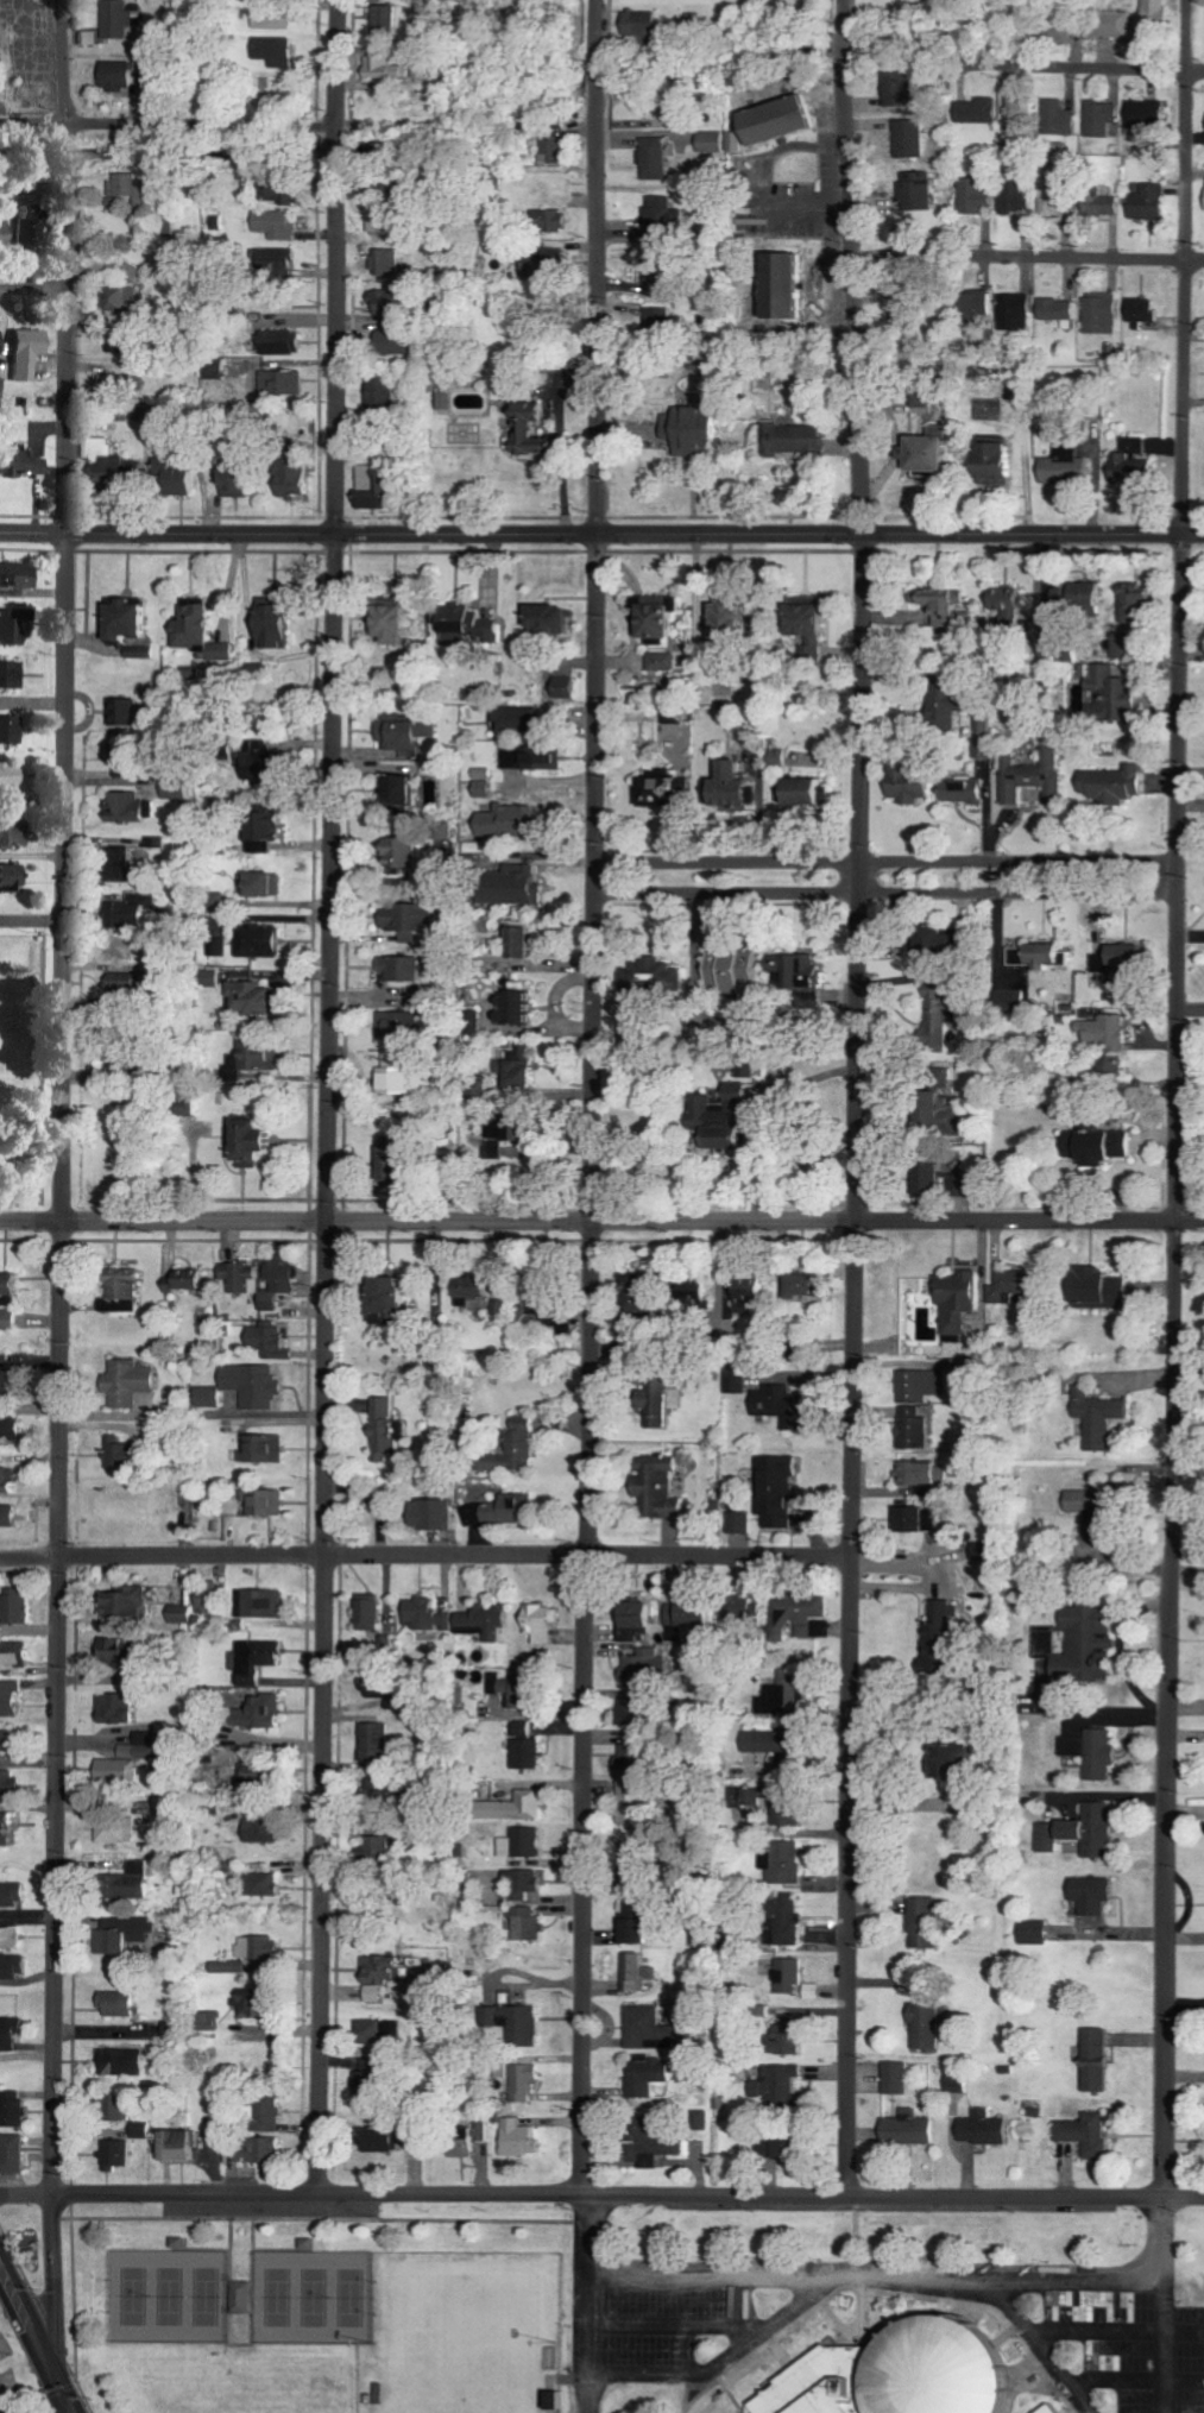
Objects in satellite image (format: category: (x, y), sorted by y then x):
building: (1154, 11)
road: (845, 14)
building: (279, 18)
building: (119, 19)
building: (389, 20)
building: (643, 25)
building: (1109, 25)
building: (1054, 30)
road: (846, 39)
building: (280, 52)
road: (1086, 65)
road: (342, 67)
road: (65, 68)
building: (121, 76)
building: (899, 88)
building: (1020, 109)
building: (978, 111)
building: (1143, 113)
building: (1060, 118)
building: (1101, 118)
road: (171, 125)
building: (769, 125)
road: (1186, 130)
building: (909, 138)
building: (711, 141)
road: (342, 145)
building: (556, 149)
road: (68, 151)
building: (655, 158)
building: (133, 187)
building: (916, 191)
building: (976, 196)
building: (288, 197)
building: (1016, 197)
building: (1057, 199)
building: (1101, 200)
building: (1147, 202)
building: (663, 209)
building: (554, 220)
building: (279, 225)
building: (32, 229)
building: (5, 232)
road: (1085, 257)
building: (286, 259)
building: (387, 263)
building: (548, 266)
road: (36, 279)
building: (776, 285)
building: (122, 300)
building: (390, 304)
building: (972, 307)
building: (1054, 309)
building: (1013, 311)
building: (1139, 311)
building: (1098, 313)
building: (656, 320)
building: (2, 341)
building: (286, 342)
building: (396, 342)
building: (119, 344)
building: (32, 353)
building: (285, 383)
building: (121, 385)
building: (2, 388)
building: (384, 396)
building: (683, 428)
building: (540, 433)
building: (790, 439)
building: (918, 453)
building: (988, 461)
building: (1128, 462)
building: (23, 464)
building: (119, 464)
building: (1061, 467)
building: (183, 474)
building: (297, 479)
building: (240, 483)
building: (378, 487)
road: (601, 531)
building: (18, 579)
building: (1076, 596)
building: (938, 600)
building: (1130, 603)
building: (1003, 606)
building: (799, 616)
building: (661, 618)
building: (724, 618)
building: (134, 619)
building: (559, 619)
building: (401, 624)
building: (14, 625)
building: (468, 626)
building: (283, 628)
building: (204, 634)
building: (1120, 645)
building: (809, 654)
building: (661, 662)
building: (260, 672)
building: (12, 675)
building: (566, 688)
building: (718, 691)
building: (1111, 692)
building: (940, 708)
building: (128, 713)
building: (525, 720)
building: (11, 730)
building: (410, 731)
building: (132, 757)
building: (515, 757)
building: (775, 757)
building: (548, 762)
building: (276, 767)
building: (14, 777)
building: (1026, 777)
building: (904, 785)
building: (1111, 785)
building: (721, 786)
building: (181, 788)
building: (487, 789)
building: (408, 792)
building: (657, 792)
building: (800, 792)
building: (962, 792)
building: (132, 808)
building: (515, 821)
building: (270, 832)
building: (14, 834)
building: (410, 855)
road: (883, 859)
building: (128, 864)
building: (12, 878)
building: (271, 886)
building: (528, 886)
road: (884, 892)
building: (141, 911)
building: (409, 919)
road: (31, 920)
building: (932, 939)
building: (267, 941)
building: (529, 944)
building: (1036, 956)
building: (1115, 957)
building: (405, 970)
building: (729, 970)
building: (796, 975)
building: (648, 976)
building: (1008, 1000)
building: (258, 1001)
building: (522, 1009)
building: (934, 1020)
building: (397, 1026)
building: (1103, 1032)
building: (266, 1054)
building: (1109, 1066)
building: (408, 1073)
building: (527, 1073)
road: (590, 1096)
building: (938, 1103)
building: (711, 1121)
road: (856, 1122)
building: (510, 1134)
building: (259, 1140)
building: (1093, 1146)
building: (406, 1155)
road: (327, 1173)
building: (925, 1174)
road: (58, 1179)
road: (601, 1221)
road: (1175, 1227)
building: (246, 1277)
building: (191, 1279)
building: (284, 1280)
building: (14, 1284)
building: (138, 1284)
building: (798, 1284)
building: (1006, 1287)
building: (480, 1289)
building: (1095, 1289)
building: (689, 1293)
building: (746, 1293)
building: (954, 1298)
building: (402, 1299)
building: (548, 1311)
building: (11, 1319)
building: (273, 1342)
building: (733, 1380)
building: (12, 1381)
building: (138, 1382)
building: (920, 1384)
building: (258, 1385)
building: (209, 1395)
building: (658, 1401)
building: (769, 1401)
building: (1097, 1418)
building: (390, 1425)
building: (12, 1426)
building: (522, 1445)
building: (269, 1449)
building: (127, 1453)
building: (913, 1473)
building: (10, 1476)
building: (654, 1486)
building: (774, 1489)
building: (1082, 1500)
building: (269, 1502)
building: (506, 1511)
building: (442, 1514)
building: (10, 1516)
building: (913, 1519)
building: (738, 1521)
building: (1093, 1551)
road: (424, 1555)
building: (133, 1601)
building: (213, 1601)
building: (264, 1604)
building: (20, 1606)
building: (742, 1606)
building: (185, 1607)
building: (372, 1612)
building: (431, 1613)
building: (688, 1614)
building: (799, 1615)
building: (940, 1620)
building: (488, 1621)
building: (630, 1621)
building: (544, 1623)
building: (1077, 1643)
building: (18, 1653)
building: (130, 1656)
building: (258, 1659)
building: (643, 1664)
building: (518, 1686)
building: (382, 1689)
building: (782, 1696)
building: (12, 1699)
building: (121, 1708)
building: (267, 1710)
building: (525, 1728)
building: (10, 1740)
building: (765, 1741)
building: (376, 1743)
building: (1091, 1752)
building: (530, 1754)
building: (626, 1758)
building: (946, 1759)
building: (127, 1764)
building: (11, 1783)
building: (632, 1797)
building: (745, 1797)
building: (528, 1806)
building: (787, 1813)
building: (8, 1828)
building: (119, 1829)
building: (267, 1831)
building: (1082, 1831)
building: (525, 1844)
building: (379, 1848)
building: (783, 1860)
building: (140, 1880)
building: (266, 1884)
building: (527, 1884)
building: (1090, 1894)
building: (14, 1895)
building: (783, 1919)
building: (921, 1922)
building: (529, 1923)
building: (632, 1926)
building: (1032, 1932)
building: (130, 1933)
building: (11, 1938)
building: (258, 1953)
building: (15, 1966)
building: (385, 1971)
building: (636, 1972)
building: (787, 1976)
building: (259, 2003)
building: (121, 2004)
building: (527, 2025)
building: (924, 2027)
building: (649, 2028)
building: (382, 2031)
building: (11, 2035)
building: (781, 2036)
building: (1093, 2059)
building: (126, 2062)
building: (645, 2074)
building: (895, 2078)
building: (378, 2081)
building: (528, 2083)
building: (774, 2084)
building: (954, 2084)
building: (131, 2106)
building: (18, 2109)
building: (275, 2117)
building: (699, 2119)
building: (981, 2128)
building: (904, 2129)
building: (145, 2130)
building: (1085, 2135)
building: (386, 2140)
building: (524, 2140)
building: (185, 2146)
building: (649, 2146)
building: (771, 2149)
building: (260, 2150)
building: (14, 2154)
building: (121, 2154)
road: (601, 2192)
road: (52, 2283)
park: (135, 2297)
park: (172, 2297)
park: (208, 2297)
building: (247, 2298)
park: (279, 2298)
park: (316, 2298)
park: (352, 2299)
road: (1165, 2304)
road: (36, 2340)
park: (464, 2343)
building: (889, 2374)
traffic signals: (53, 2375)
traffic signals: (63, 2394)
building: (551, 2400)
road: (62, 2403)
building: (1041, 2409)

